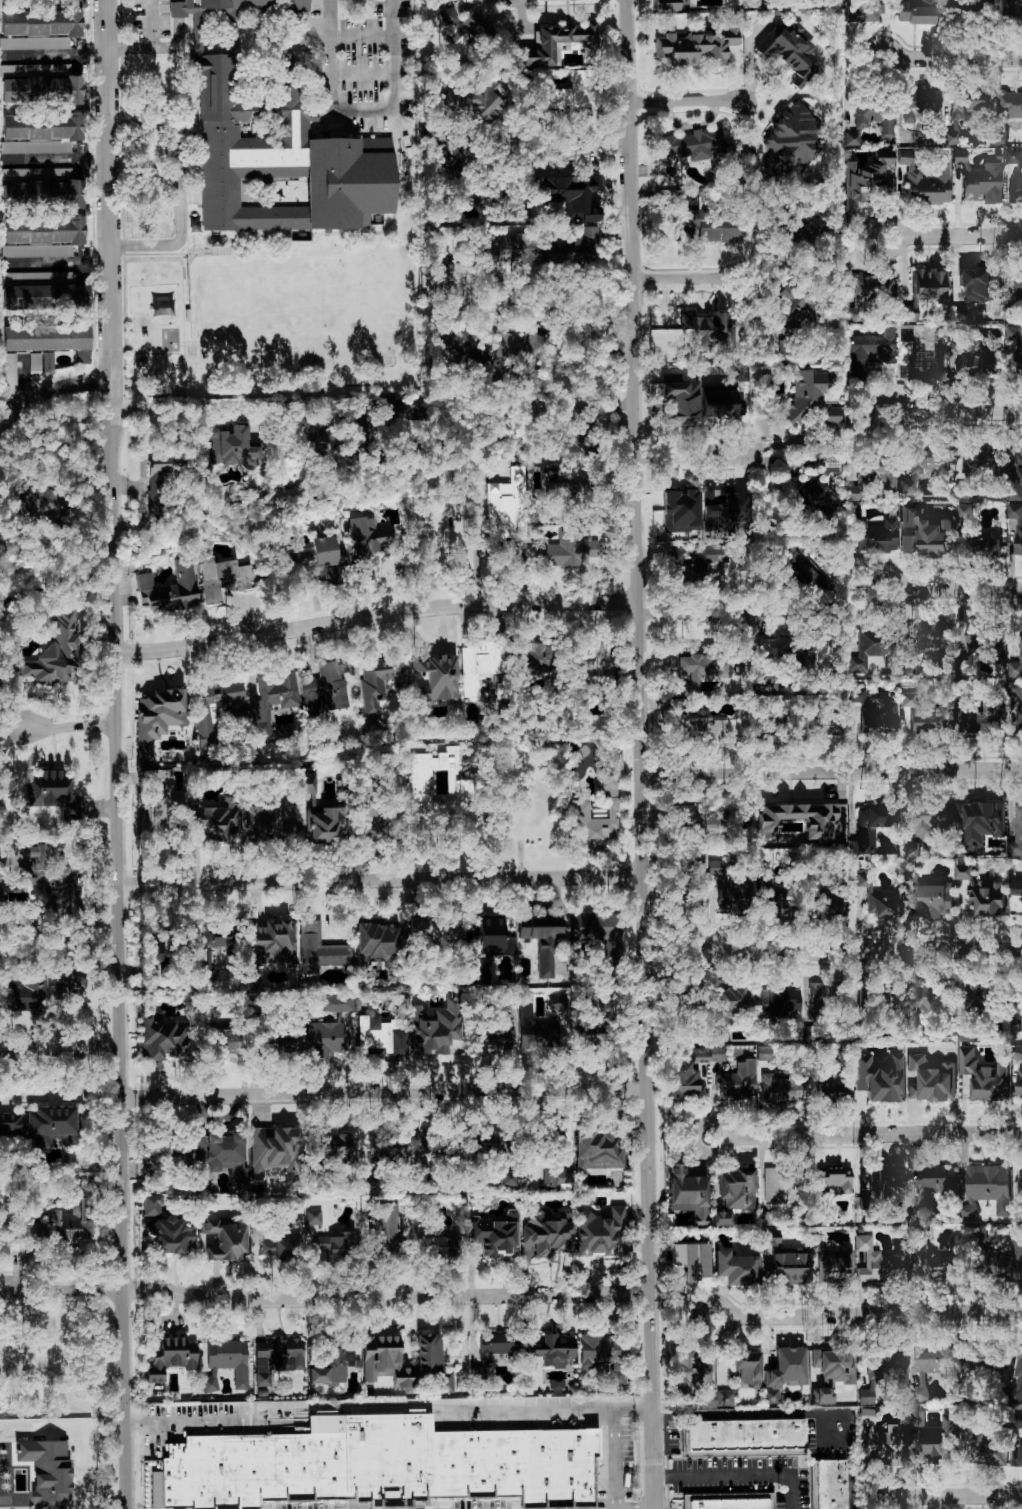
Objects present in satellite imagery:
building: (708, 3)
building: (231, 8)
building: (862, 11)
building: (915, 11)
building: (41, 22)
parking lot: (162, 24)
building: (464, 24)
building: (34, 42)
building: (558, 42)
road: (891, 45)
building: (696, 46)
road: (122, 48)
building: (789, 50)
road: (54, 56)
parking lot: (360, 60)
road: (959, 60)
building: (33, 68)
building: (42, 89)
building: (569, 92)
building: (475, 99)
road: (687, 102)
building: (1009, 103)
building: (968, 105)
building: (926, 108)
road: (362, 112)
building: (875, 115)
building: (1021, 127)
building: (40, 132)
building: (950, 137)
building: (850, 138)
building: (790, 140)
road: (571, 143)
building: (286, 144)
building: (693, 144)
building: (452, 156)
building: (1013, 157)
road: (58, 159)
building: (979, 178)
road: (178, 180)
building: (926, 180)
building: (42, 184)
building: (1014, 186)
building: (587, 215)
building: (706, 225)
road: (951, 234)
building: (41, 235)
building: (508, 247)
building: (571, 248)
road: (58, 264)
road: (688, 279)
building: (871, 285)
building: (929, 285)
building: (979, 285)
building: (45, 295)
building: (793, 307)
park: (301, 314)
road: (579, 322)
building: (706, 328)
building: (48, 339)
building: (1015, 339)
building: (505, 342)
building: (534, 351)
building: (871, 351)
building: (47, 360)
building: (34, 362)
building: (979, 362)
building: (921, 367)
building: (10, 373)
road: (22, 381)
road: (52, 394)
building: (810, 398)
building: (694, 400)
road: (247, 405)
road: (954, 413)
building: (361, 432)
building: (231, 446)
road: (694, 454)
building: (985, 458)
building: (921, 469)
building: (878, 470)
building: (1020, 473)
building: (819, 482)
building: (160, 483)
road: (603, 490)
building: (571, 496)
building: (29, 503)
building: (726, 508)
building: (680, 510)
building: (1016, 524)
building: (921, 535)
building: (877, 536)
building: (369, 542)
building: (568, 547)
building: (987, 547)
building: (522, 550)
building: (310, 553)
building: (691, 563)
building: (804, 572)
building: (223, 576)
building: (168, 588)
road: (954, 589)
road: (433, 607)
building: (937, 637)
building: (57, 644)
building: (862, 652)
building: (535, 659)
building: (479, 662)
building: (1016, 664)
building: (700, 665)
building: (435, 677)
building: (379, 679)
building: (326, 690)
building: (273, 693)
building: (1019, 703)
building: (856, 710)
building: (215, 712)
building: (157, 717)
building: (920, 717)
building: (981, 718)
building: (883, 719)
road: (72, 725)
building: (705, 728)
road: (118, 754)
road: (640, 754)
building: (451, 755)
road: (830, 771)
building: (306, 781)
building: (422, 783)
building: (465, 786)
building: (54, 792)
building: (579, 809)
building: (269, 819)
building: (707, 819)
building: (931, 820)
building: (221, 821)
building: (983, 821)
building: (326, 823)
building: (822, 824)
building: (868, 826)
building: (1016, 834)
building: (910, 849)
building: (44, 867)
building: (964, 871)
road: (381, 879)
building: (729, 893)
building: (987, 896)
building: (1016, 896)
building: (694, 897)
building: (878, 899)
building: (932, 901)
building: (772, 903)
building: (828, 907)
building: (432, 928)
building: (596, 931)
building: (269, 941)
road: (717, 942)
building: (377, 943)
building: (319, 947)
building: (220, 948)
road: (872, 950)
building: (42, 986)
building: (817, 994)
building: (983, 994)
building: (559, 1000)
building: (777, 1000)
building: (1018, 1017)
building: (330, 1021)
building: (541, 1024)
building: (435, 1026)
building: (492, 1031)
building: (965, 1033)
building: (380, 1035)
building: (162, 1038)
building: (229, 1042)
road: (61, 1052)
building: (707, 1053)
building: (1018, 1075)
building: (878, 1076)
building: (983, 1076)
building: (930, 1078)
building: (682, 1079)
building: (737, 1080)
building: (783, 1083)
building: (825, 1087)
road: (384, 1091)
building: (41, 1124)
road: (722, 1126)
road: (874, 1136)
building: (334, 1146)
building: (273, 1149)
building: (440, 1149)
building: (597, 1149)
building: (387, 1150)
building: (222, 1155)
building: (151, 1161)
building: (508, 1176)
building: (548, 1177)
building: (563, 1178)
building: (367, 1179)
building: (831, 1182)
building: (934, 1182)
building: (880, 1184)
building: (781, 1186)
building: (735, 1187)
building: (985, 1188)
building: (313, 1216)
building: (721, 1217)
building: (66, 1222)
building: (165, 1226)
building: (388, 1229)
building: (598, 1231)
building: (547, 1233)
building: (493, 1235)
building: (224, 1239)
building: (439, 1243)
building: (342, 1245)
building: (320, 1246)
building: (280, 1249)
building: (690, 1259)
building: (828, 1260)
building: (879, 1261)
building: (944, 1262)
building: (1000, 1263)
building: (736, 1267)
road: (335, 1298)
road: (724, 1307)
road: (875, 1312)
building: (497, 1343)
building: (548, 1349)
building: (599, 1352)
building: (427, 1354)
building: (169, 1355)
building: (275, 1357)
building: (384, 1359)
building: (225, 1363)
building: (330, 1364)
building: (834, 1365)
building: (482, 1366)
building: (934, 1367)
building: (690, 1370)
building: (784, 1371)
building: (883, 1374)
building: (736, 1378)
building: (1016, 1380)
building: (821, 1395)
road: (388, 1403)
road: (789, 1415)
building: (866, 1415)
building: (744, 1436)
building: (934, 1436)
building: (886, 1444)
building: (990, 1452)
road: (611, 1457)
building: (1016, 1457)
building: (373, 1460)
road: (81, 1463)
building: (45, 1468)
road: (739, 1474)
building: (828, 1484)
road: (943, 1495)
building: (727, 1500)

